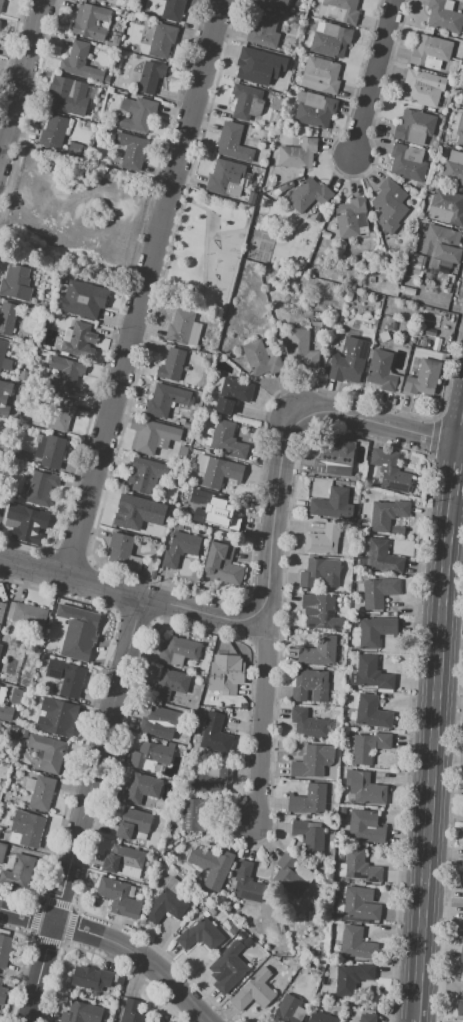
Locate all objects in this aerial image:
building: (105, 1)
building: (1, 4)
building: (273, 4)
building: (173, 10)
building: (341, 11)
building: (443, 17)
building: (90, 21)
building: (263, 29)
building: (330, 39)
building: (162, 40)
building: (436, 52)
building: (79, 63)
building: (259, 65)
building: (320, 75)
building: (150, 77)
road: (373, 78)
road: (23, 86)
building: (423, 87)
building: (61, 94)
building: (246, 102)
building: (462, 102)
building: (314, 109)
building: (137, 113)
building: (414, 127)
building: (52, 132)
building: (256, 133)
building: (460, 133)
building: (232, 142)
building: (131, 150)
building: (298, 154)
building: (408, 163)
building: (453, 168)
building: (226, 178)
building: (284, 187)
building: (308, 195)
building: (251, 199)
building: (389, 205)
building: (446, 207)
building: (351, 218)
building: (325, 235)
building: (442, 244)
park: (204, 251)
building: (433, 263)
building: (416, 266)
building: (15, 283)
building: (410, 284)
building: (447, 288)
road: (146, 289)
building: (406, 290)
building: (93, 303)
building: (7, 318)
building: (391, 326)
building: (183, 328)
building: (384, 336)
building: (78, 339)
building: (300, 348)
building: (262, 358)
building: (5, 359)
building: (348, 360)
building: (171, 365)
building: (383, 371)
building: (65, 374)
building: (423, 377)
building: (0, 384)
building: (233, 394)
building: (165, 400)
building: (60, 413)
road: (371, 421)
building: (2, 425)
building: (151, 436)
building: (228, 440)
road: (460, 444)
building: (50, 450)
building: (333, 458)
building: (390, 470)
building: (220, 472)
building: (144, 475)
building: (41, 488)
building: (332, 504)
building: (214, 510)
building: (131, 514)
building: (387, 514)
road: (276, 521)
building: (26, 525)
building: (323, 540)
building: (180, 548)
building: (122, 552)
building: (382, 557)
building: (222, 564)
building: (318, 571)
building: (379, 592)
road: (132, 595)
building: (2, 610)
building: (319, 611)
building: (25, 615)
building: (375, 631)
building: (77, 634)
building: (0, 647)
building: (178, 651)
building: (319, 651)
building: (225, 674)
building: (371, 674)
building: (66, 676)
building: (170, 683)
building: (310, 685)
building: (15, 696)
building: (4, 708)
building: (372, 712)
building: (56, 717)
building: (159, 720)
road: (435, 720)
building: (309, 725)
building: (0, 726)
road: (260, 726)
building: (23, 733)
building: (215, 734)
building: (369, 746)
building: (48, 752)
building: (151, 756)
building: (313, 761)
building: (206, 778)
building: (142, 788)
building: (365, 788)
building: (40, 792)
building: (309, 800)
road: (85, 810)
building: (194, 815)
building: (133, 824)
building: (365, 826)
building: (26, 828)
building: (0, 830)
building: (308, 835)
building: (2, 852)
building: (122, 858)
building: (211, 864)
building: (360, 866)
building: (18, 872)
building: (289, 876)
building: (247, 883)
building: (118, 897)
building: (167, 902)
building: (360, 904)
building: (230, 926)
building: (200, 934)
road: (115, 940)
building: (357, 943)
building: (4, 949)
building: (461, 953)
building: (228, 967)
building: (91, 978)
building: (352, 978)
building: (255, 990)
building: (2, 993)
building: (459, 1007)
building: (289, 1009)
building: (131, 1011)
building: (81, 1013)
building: (320, 1017)
building: (366, 1017)

